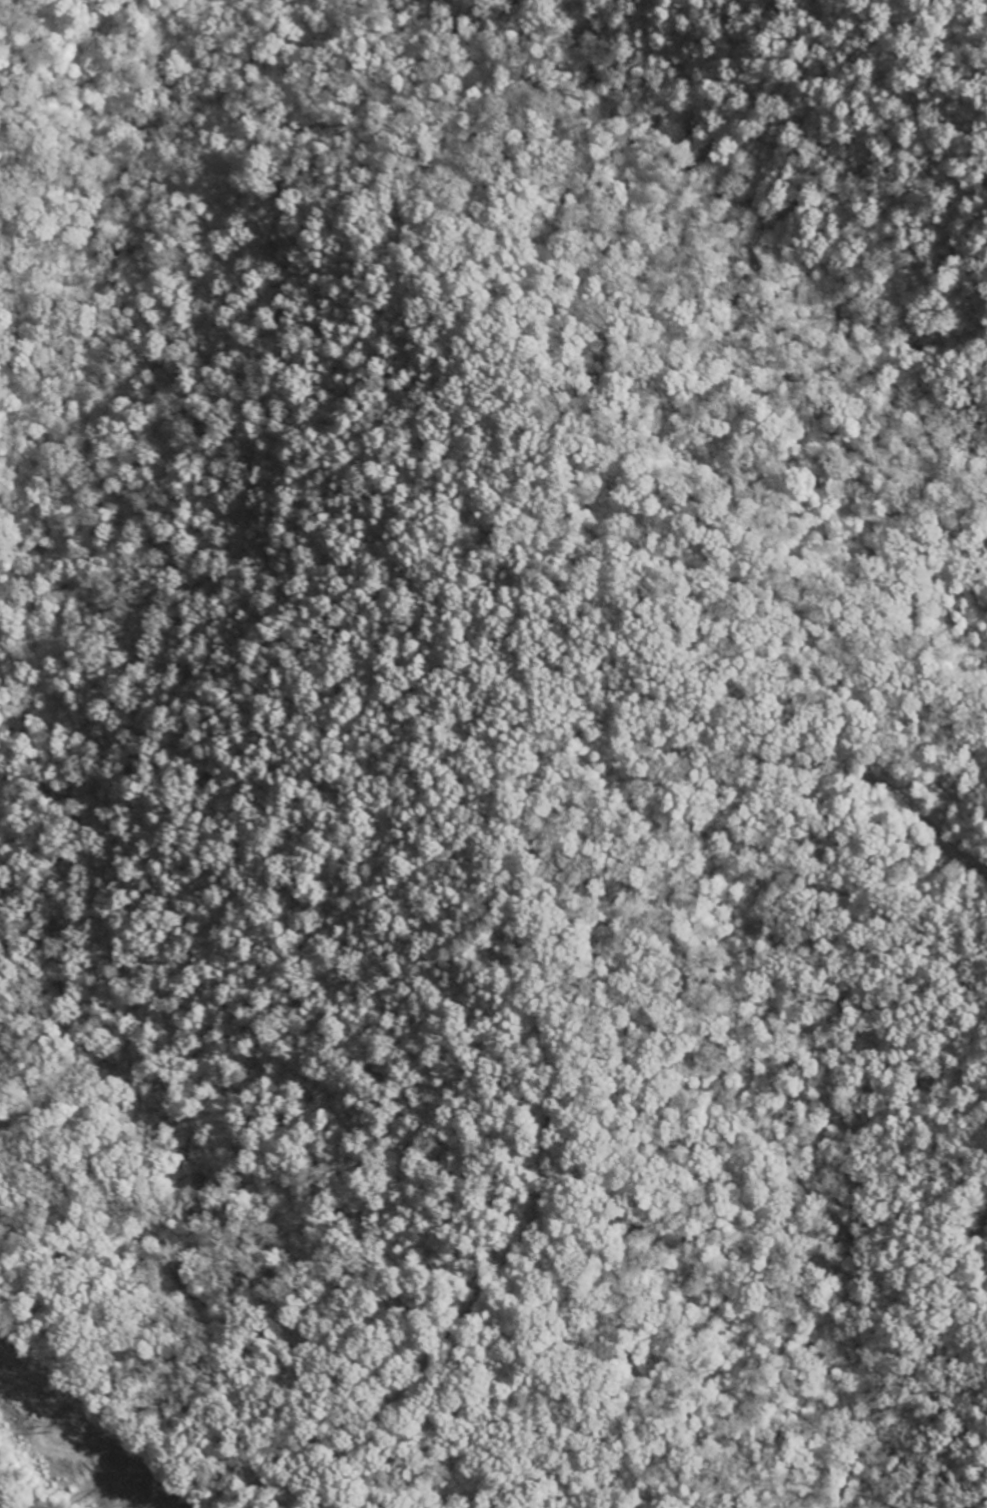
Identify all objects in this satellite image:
road: (543, 1028)
power tower: (50, 1427)

